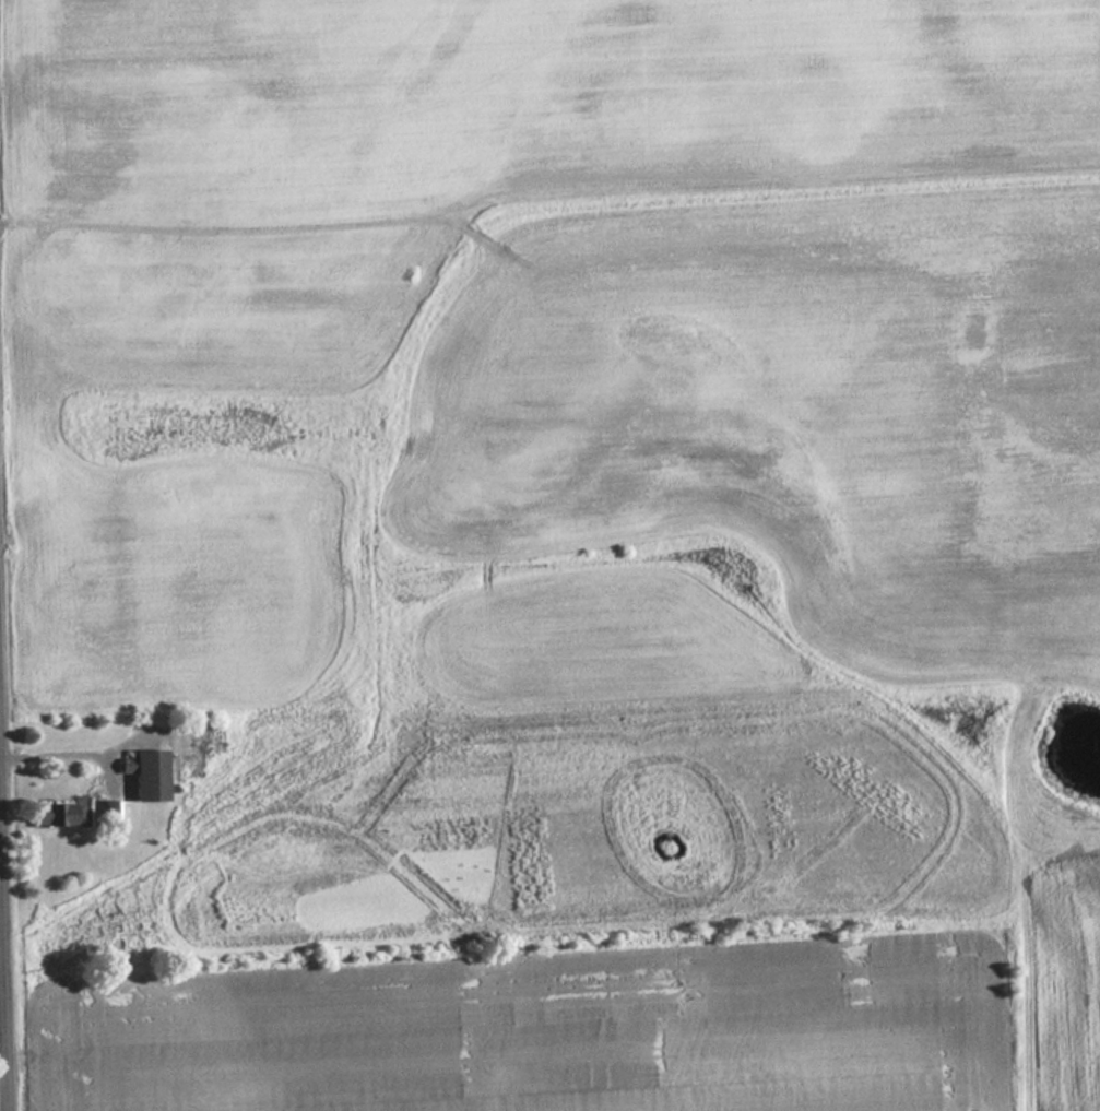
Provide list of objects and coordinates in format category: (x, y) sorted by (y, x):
building: (147, 773)
building: (57, 814)
road: (3, 970)

